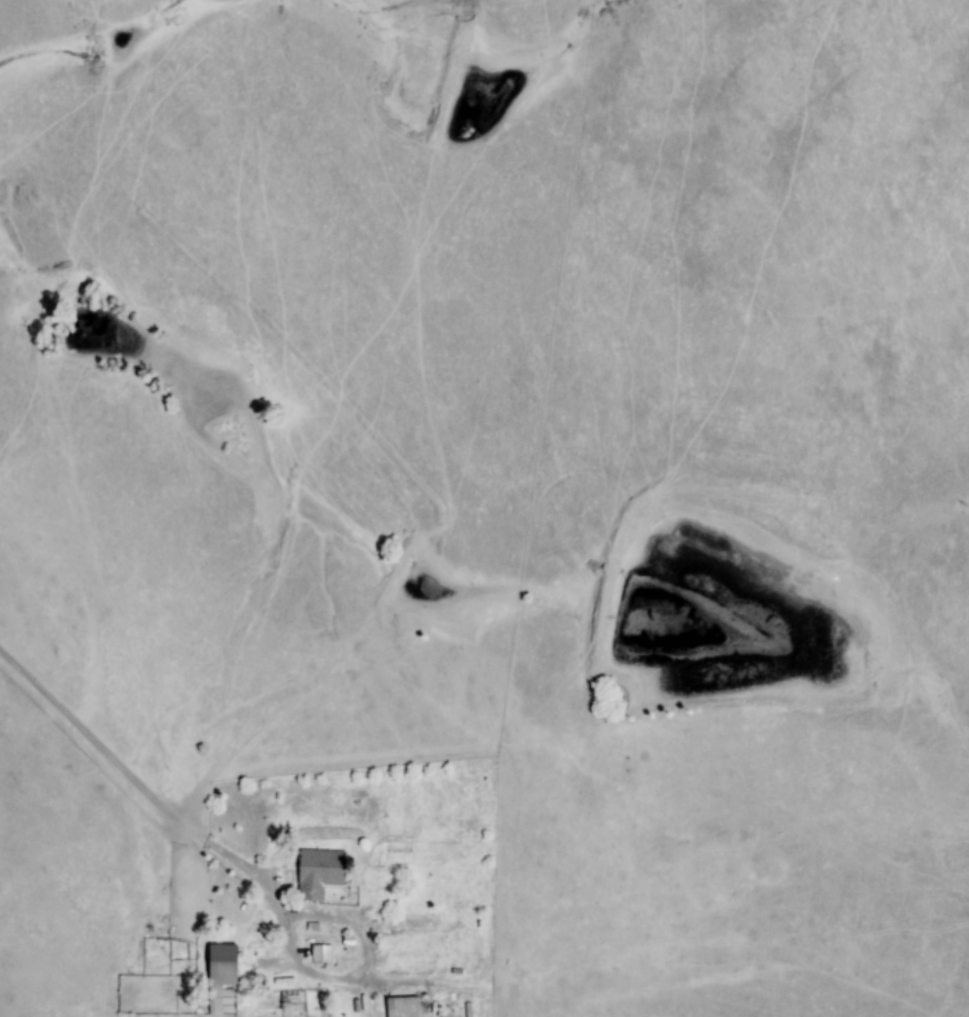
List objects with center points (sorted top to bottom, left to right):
road: (103, 750)
building: (321, 873)
building: (223, 975)

